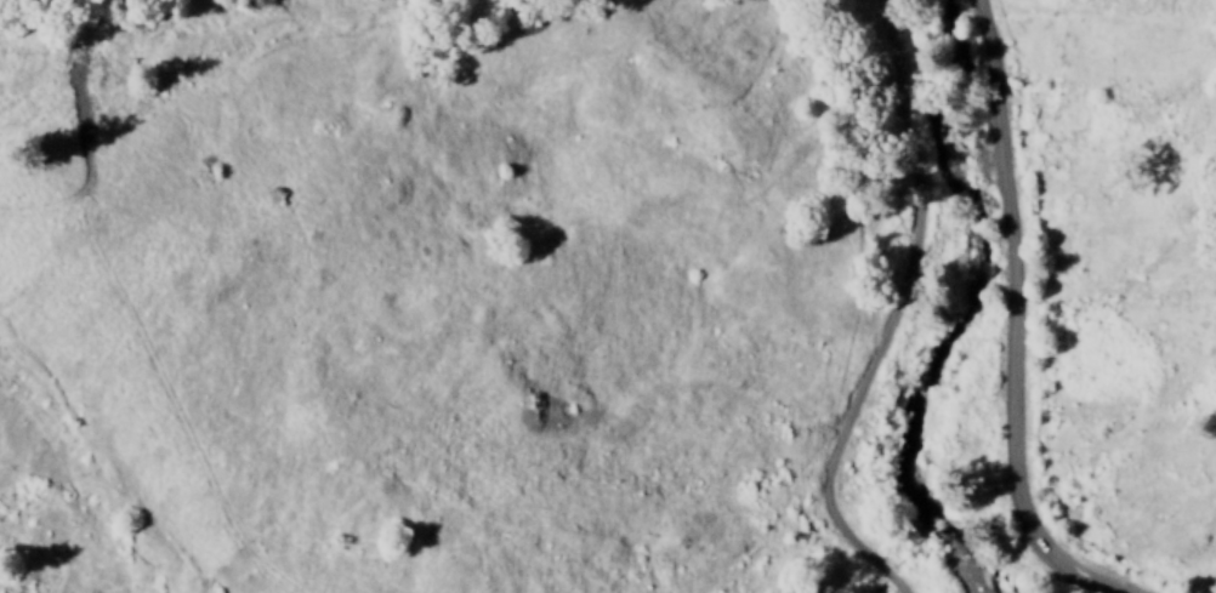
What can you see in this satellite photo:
road: (890, 313)
road: (1013, 324)

